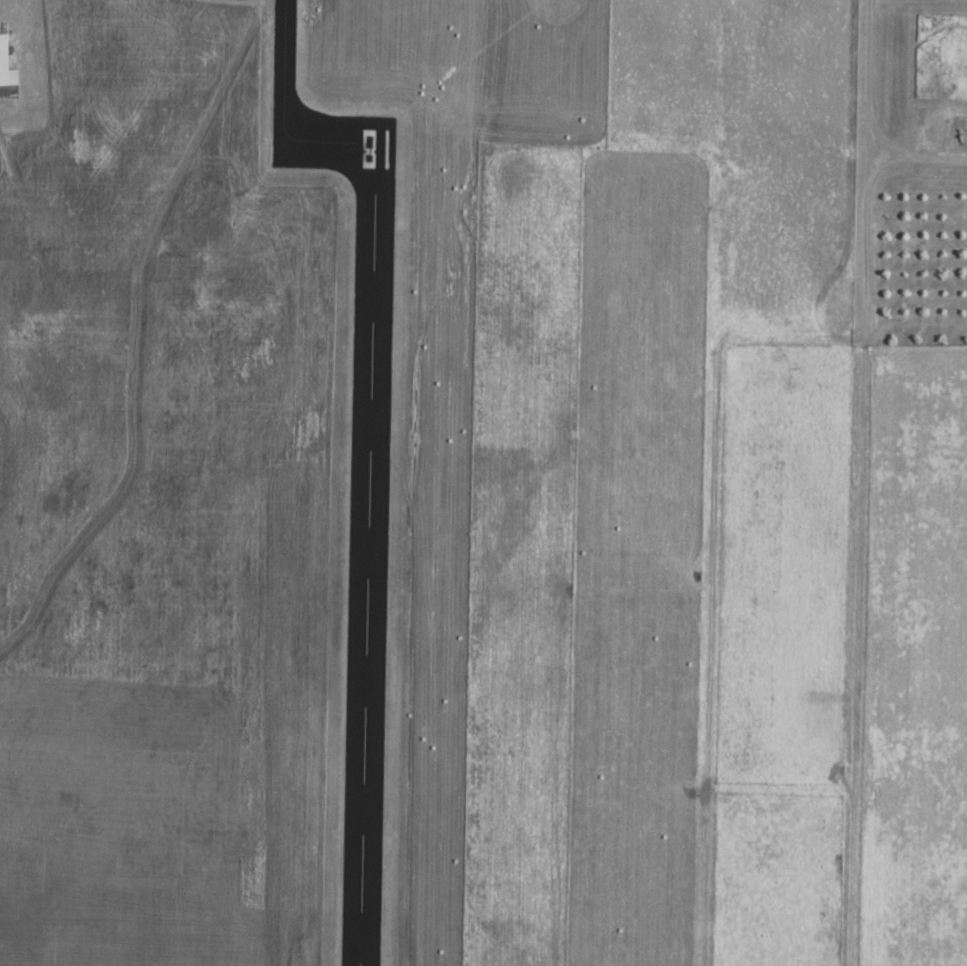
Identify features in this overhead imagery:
airport taxiway: (292, 114)
road: (868, 117)
airport runway: (368, 556)

